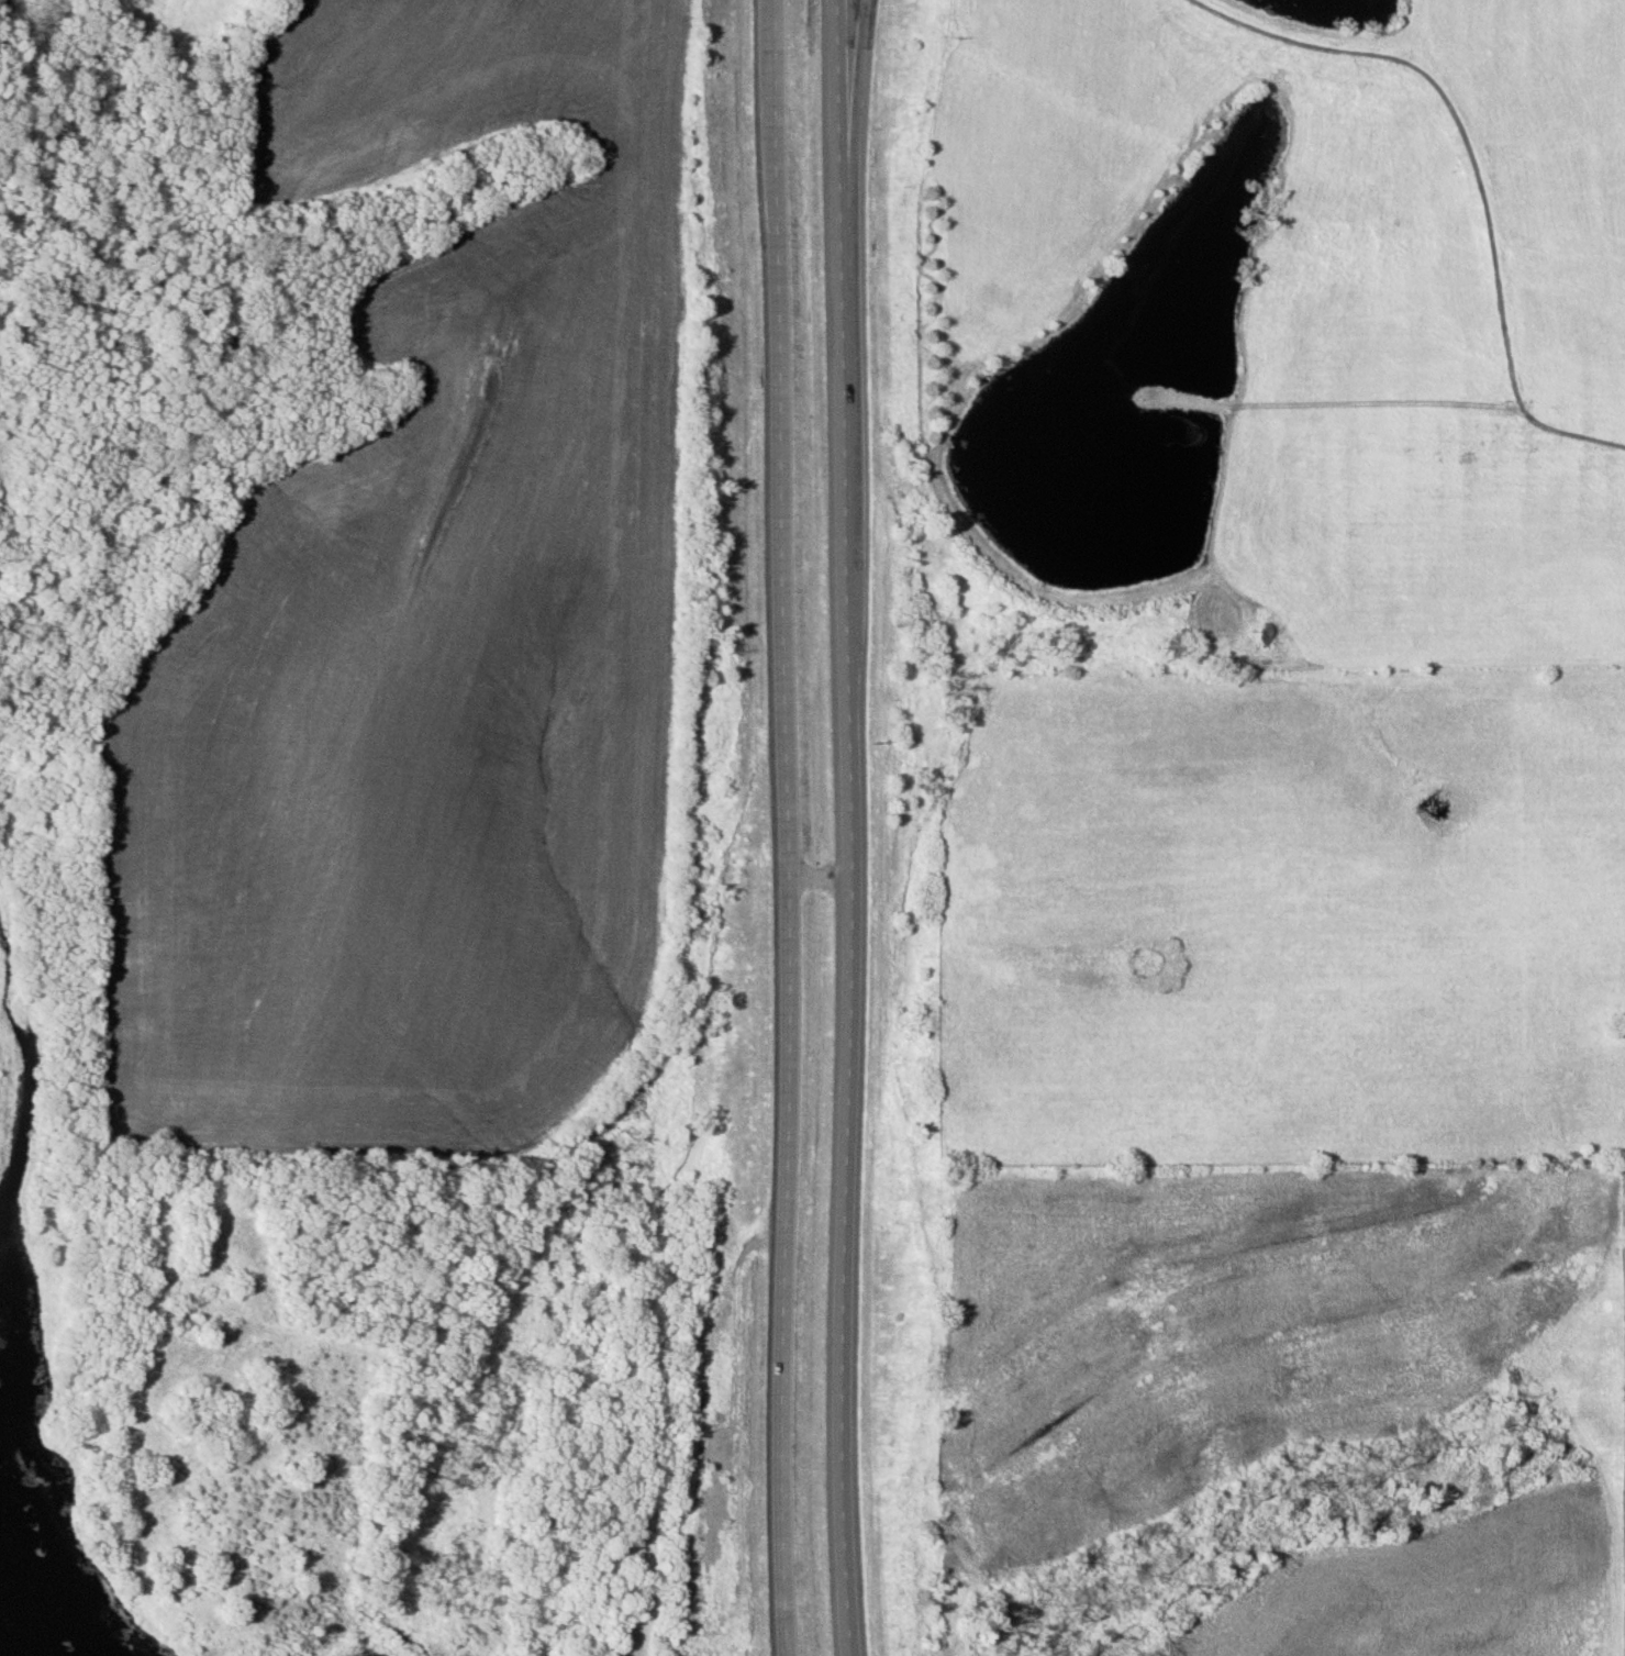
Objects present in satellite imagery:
road: (848, 66)
road: (867, 66)
road: (1479, 167)
road: (782, 827)
road: (847, 893)
crop: (1221, 1330)
crop: (1417, 1589)

